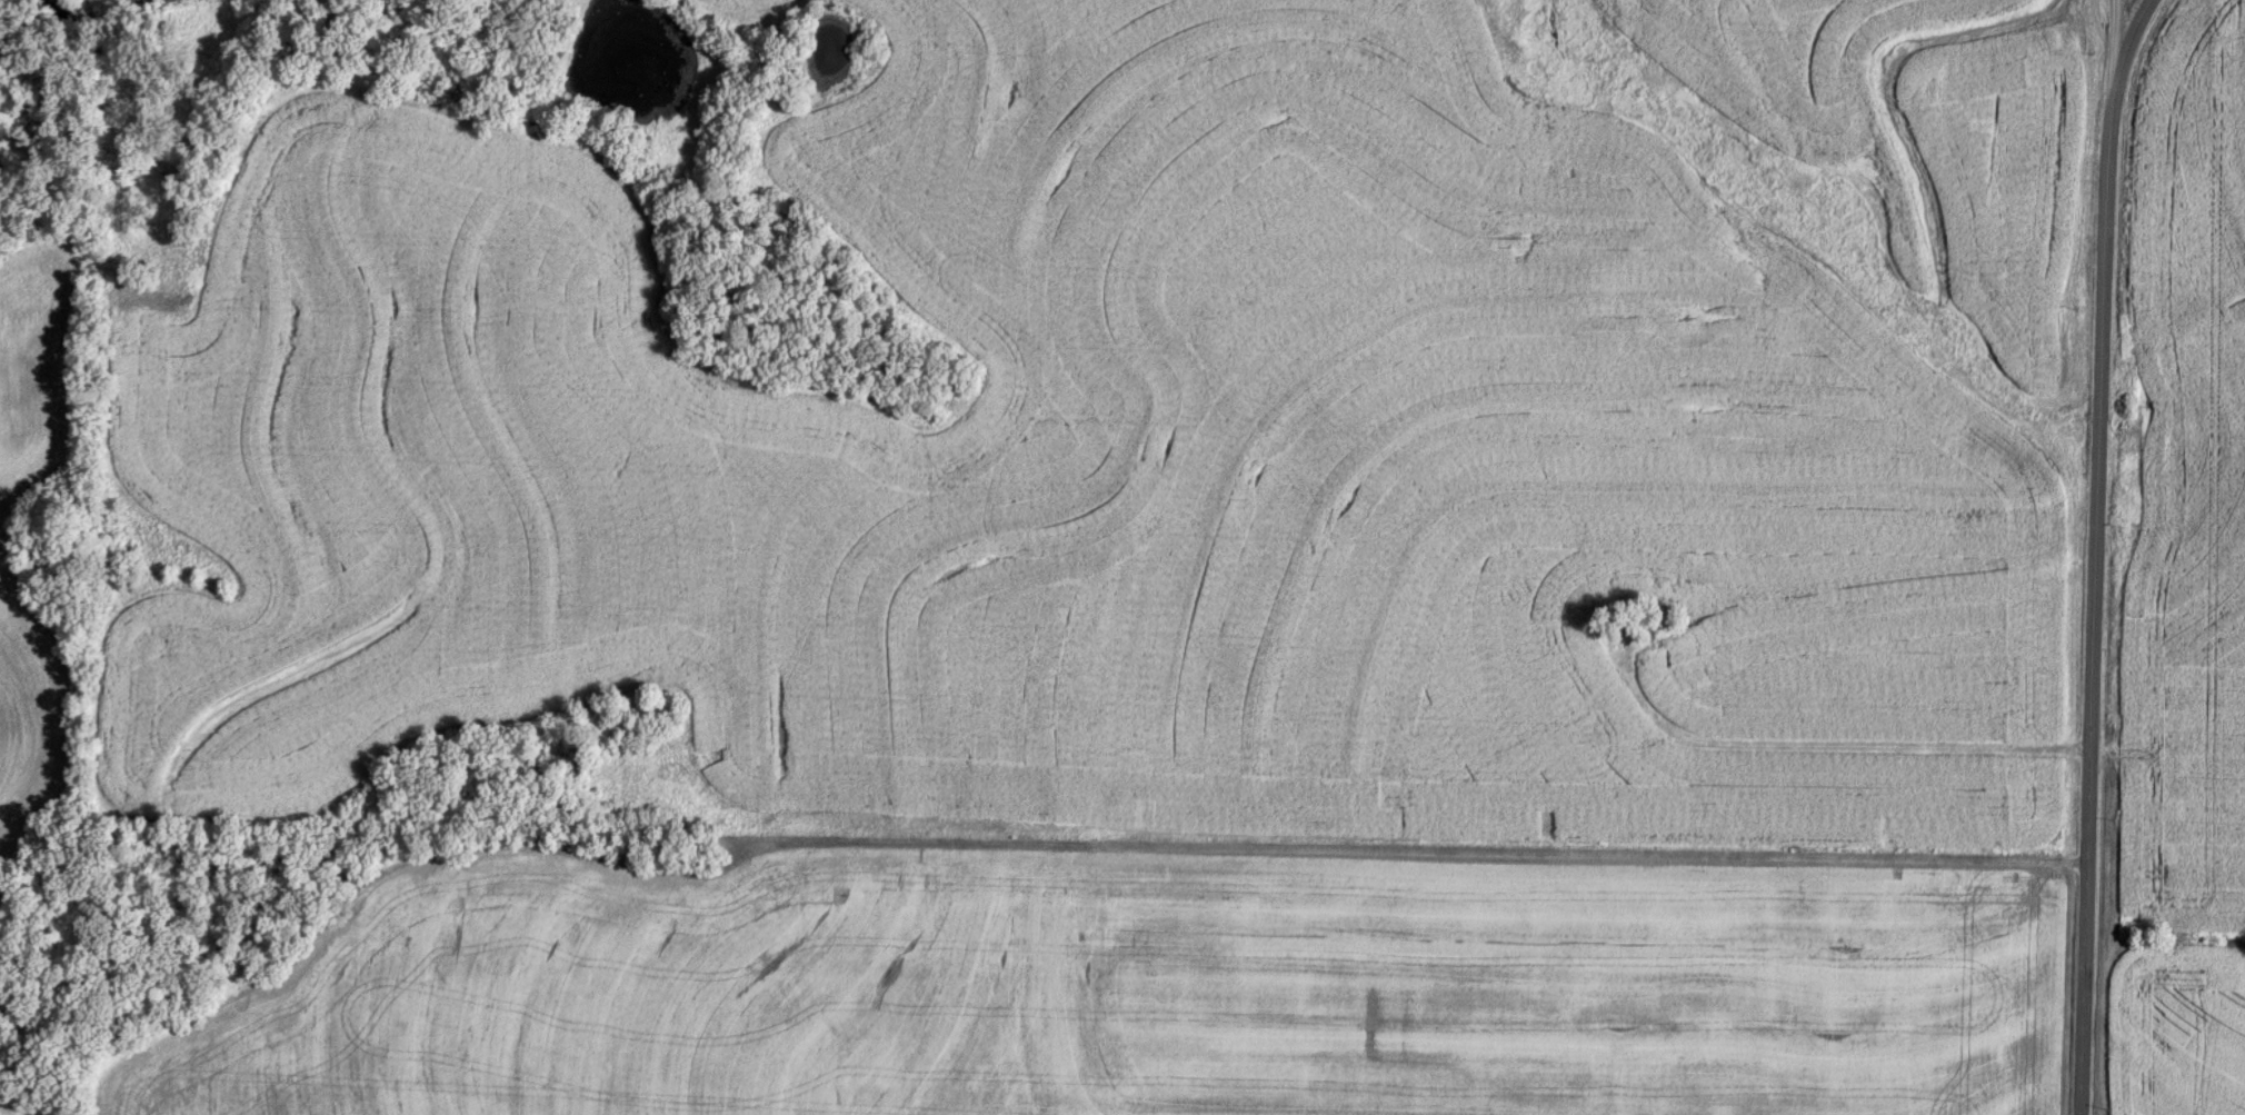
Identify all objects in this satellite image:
road: (2112, 46)
road: (2094, 554)

